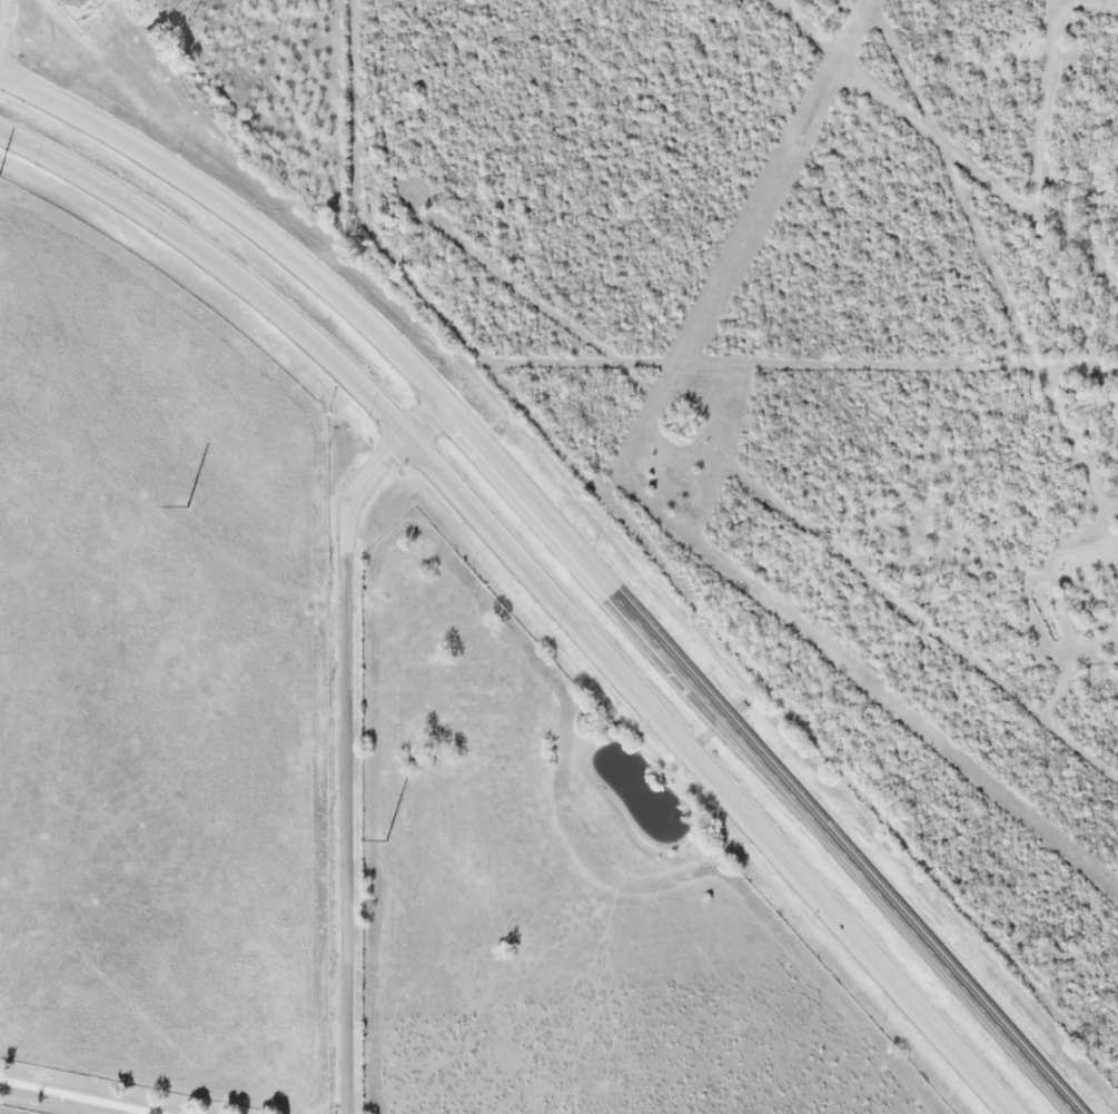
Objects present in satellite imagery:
road: (4, 14)
road: (211, 201)
power tower: (187, 506)
road: (538, 583)
road: (746, 732)
road: (348, 737)
power tower: (387, 842)
road: (78, 1097)

